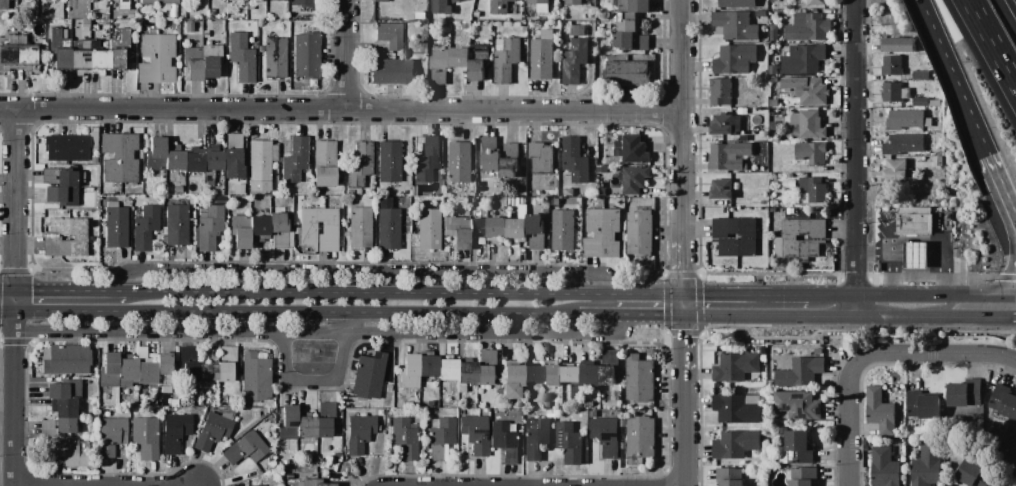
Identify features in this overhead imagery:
building: (233, 0)
building: (380, 1)
building: (456, 1)
building: (14, 2)
building: (159, 2)
building: (574, 2)
building: (817, 2)
building: (303, 3)
building: (737, 3)
building: (3, 4)
building: (122, 5)
building: (540, 5)
road: (1013, 5)
building: (250, 7)
building: (442, 7)
building: (503, 7)
building: (630, 13)
building: (208, 14)
building: (477, 14)
building: (131, 16)
building: (421, 16)
building: (104, 17)
building: (196, 24)
building: (465, 25)
building: (85, 26)
building: (736, 26)
building: (189, 27)
building: (808, 27)
building: (93, 28)
building: (525, 30)
building: (578, 31)
road: (935, 32)
building: (64, 33)
building: (205, 34)
building: (774, 34)
building: (389, 35)
building: (624, 41)
road: (991, 41)
building: (642, 42)
building: (86, 44)
building: (104, 45)
building: (898, 45)
building: (260, 48)
building: (58, 49)
building: (119, 49)
building: (17, 51)
building: (306, 56)
road: (347, 56)
building: (543, 56)
building: (226, 57)
building: (241, 57)
building: (275, 58)
building: (507, 58)
building: (100, 59)
building: (156, 59)
building: (734, 59)
building: (804, 59)
building: (80, 60)
building: (461, 60)
building: (210, 61)
building: (575, 61)
building: (480, 62)
building: (192, 63)
building: (892, 65)
building: (441, 66)
building: (773, 70)
building: (393, 72)
building: (628, 73)
building: (920, 75)
building: (720, 91)
building: (895, 92)
building: (814, 93)
building: (920, 102)
building: (934, 103)
road: (965, 103)
building: (742, 110)
road: (340, 111)
building: (906, 119)
building: (729, 124)
building: (809, 124)
building: (773, 125)
building: (773, 135)
building: (471, 136)
building: (93, 139)
building: (232, 140)
building: (938, 140)
building: (903, 144)
building: (67, 147)
road: (681, 149)
building: (634, 150)
building: (811, 153)
building: (155, 154)
building: (490, 156)
building: (728, 157)
building: (119, 158)
building: (428, 158)
building: (541, 158)
building: (231, 159)
building: (93, 160)
building: (212, 160)
building: (294, 160)
building: (575, 160)
road: (856, 160)
building: (174, 161)
building: (389, 161)
building: (510, 161)
building: (193, 163)
building: (523, 163)
building: (324, 164)
road: (992, 164)
building: (259, 165)
building: (359, 165)
building: (461, 166)
building: (897, 170)
building: (568, 173)
building: (208, 175)
building: (790, 176)
building: (635, 179)
building: (208, 183)
building: (789, 183)
building: (61, 185)
building: (176, 189)
building: (722, 189)
building: (813, 190)
building: (569, 192)
building: (159, 199)
building: (473, 200)
road: (12, 201)
building: (556, 201)
road: (1009, 201)
building: (517, 202)
building: (276, 203)
building: (790, 211)
road: (1009, 212)
building: (915, 220)
building: (535, 223)
building: (176, 224)
building: (259, 225)
building: (360, 225)
building: (387, 225)
building: (115, 226)
building: (144, 227)
building: (209, 227)
building: (308, 228)
building: (429, 228)
building: (497, 229)
building: (517, 229)
building: (564, 230)
road: (887, 230)
building: (280, 231)
building: (464, 231)
building: (240, 232)
building: (640, 233)
building: (603, 235)
building: (51, 238)
building: (751, 238)
building: (91, 239)
building: (802, 240)
building: (537, 241)
road: (940, 241)
building: (917, 255)
road: (895, 256)
road: (375, 274)
road: (1007, 283)
road: (6, 290)
traffic signals: (12, 291)
road: (71, 292)
road: (374, 298)
road: (652, 298)
traffic signals: (686, 298)
road: (747, 298)
road: (901, 300)
road: (1005, 300)
road: (6, 309)
traffic signals: (12, 309)
road: (686, 309)
road: (294, 316)
road: (613, 320)
road: (667, 320)
traffic signals: (686, 320)
road: (848, 320)
road: (1013, 321)
road: (356, 330)
road: (334, 341)
building: (763, 349)
road: (939, 357)
building: (763, 358)
building: (67, 360)
building: (163, 364)
building: (226, 364)
building: (188, 366)
building: (485, 367)
building: (609, 367)
building: (737, 368)
building: (127, 369)
building: (145, 369)
building: (417, 369)
building: (108, 370)
building: (447, 370)
building: (802, 372)
building: (207, 373)
building: (552, 373)
building: (532, 374)
building: (255, 375)
building: (465, 375)
building: (591, 375)
building: (368, 376)
building: (572, 376)
building: (512, 379)
building: (640, 379)
building: (770, 383)
road: (318, 384)
building: (496, 386)
road: (13, 388)
building: (388, 388)
building: (164, 390)
building: (965, 393)
building: (108, 397)
building: (161, 399)
building: (223, 399)
building: (1005, 402)
building: (173, 403)
building: (518, 403)
road: (686, 403)
building: (440, 404)
building: (546, 404)
building: (583, 405)
building: (796, 406)
building: (923, 406)
building: (61, 408)
building: (737, 408)
building: (485, 411)
building: (880, 411)
building: (155, 412)
building: (461, 412)
building: (255, 414)
building: (550, 414)
building: (593, 414)
building: (492, 416)
building: (325, 420)
building: (387, 420)
building: (287, 423)
building: (623, 423)
building: (807, 424)
road: (858, 424)
building: (305, 425)
building: (214, 430)
building: (782, 430)
building: (442, 431)
building: (175, 432)
building: (359, 433)
building: (475, 433)
building: (111, 435)
building: (606, 436)
building: (144, 437)
building: (405, 438)
building: (536, 438)
building: (640, 439)
building: (1015, 440)
building: (503, 442)
building: (570, 443)
building: (735, 444)
building: (624, 446)
building: (797, 448)
building: (244, 449)
building: (69, 452)
building: (438, 453)
building: (1014, 453)
building: (292, 455)
building: (270, 461)
building: (284, 462)
building: (269, 466)
building: (928, 466)
building: (885, 467)
building: (974, 474)
building: (803, 476)
building: (288, 477)
building: (730, 477)
building: (278, 482)
building: (313, 483)
road: (11, 485)
road: (106, 485)
building: (260, 485)

